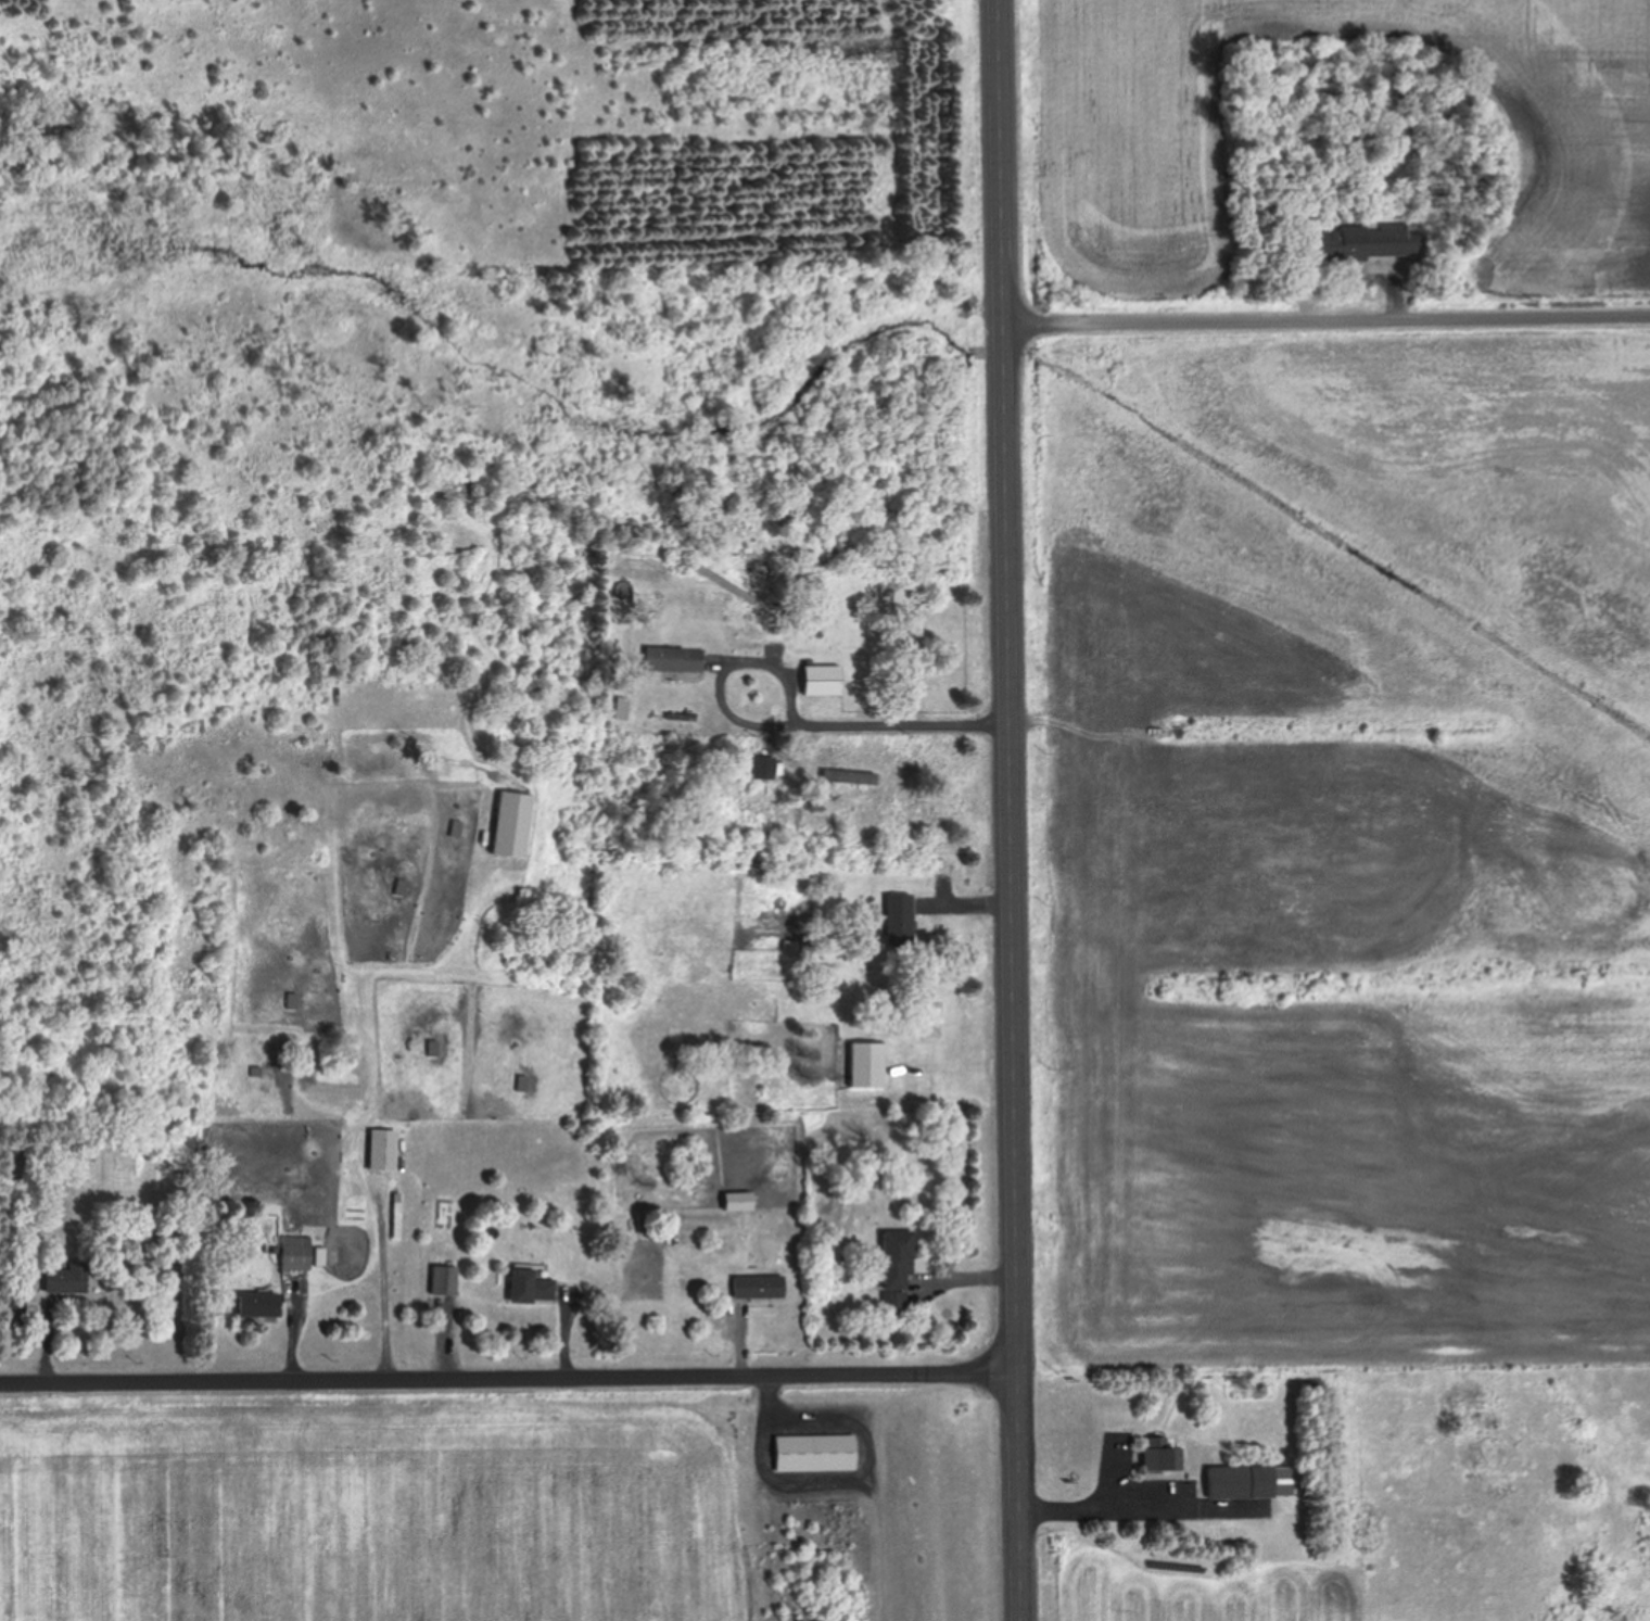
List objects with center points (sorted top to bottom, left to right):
building: (1368, 241)
road: (1329, 312)
building: (673, 659)
building: (821, 679)
road: (865, 718)
road: (1012, 810)
building: (899, 919)
building: (383, 1149)
building: (296, 1252)
building: (894, 1266)
building: (65, 1277)
building: (444, 1279)
building: (531, 1286)
building: (759, 1286)
building: (257, 1304)
building: (15, 1310)
road: (508, 1373)
building: (815, 1452)
building: (1159, 1456)
building: (1240, 1482)

